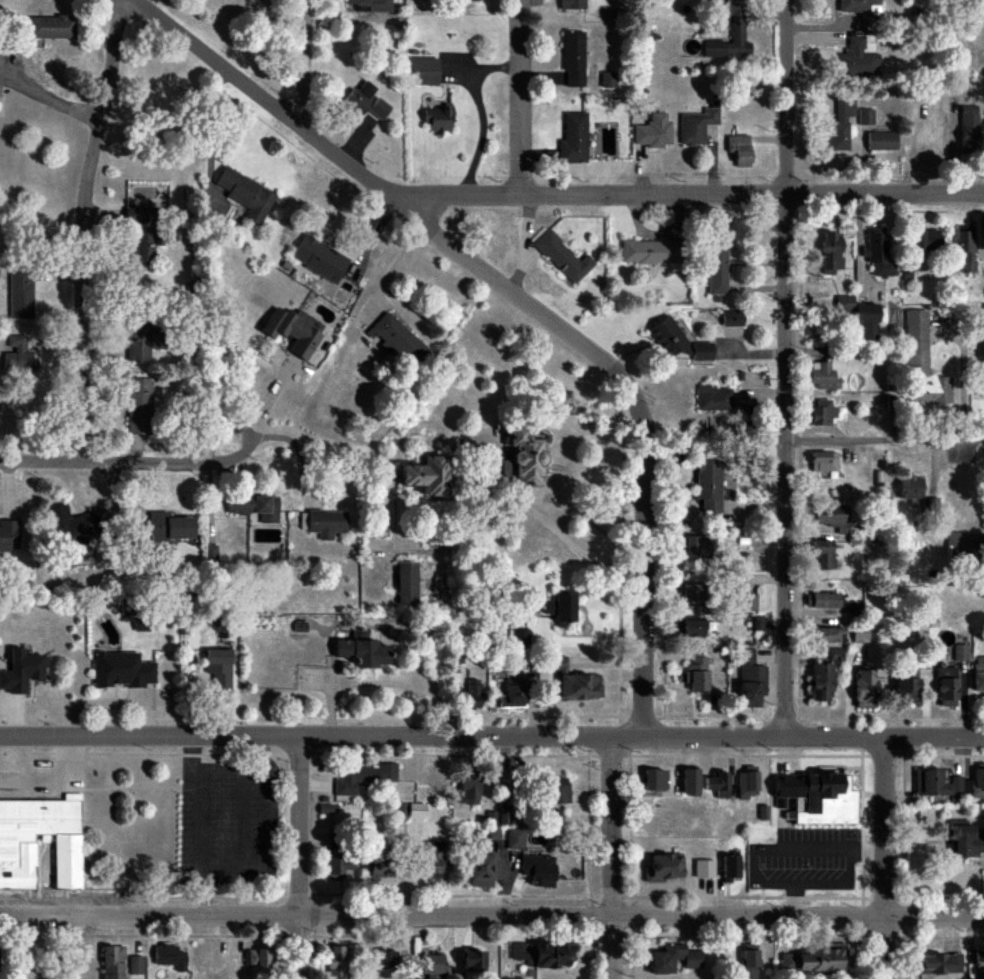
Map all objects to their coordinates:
building: (465, 0)
building: (573, 4)
building: (371, 5)
building: (857, 6)
building: (48, 27)
building: (731, 38)
building: (573, 59)
building: (857, 60)
road: (304, 63)
building: (422, 71)
building: (607, 80)
road: (51, 96)
road: (519, 98)
building: (358, 99)
building: (379, 109)
road: (480, 113)
road: (213, 117)
building: (866, 117)
building: (437, 120)
building: (968, 125)
building: (697, 126)
building: (840, 127)
building: (653, 131)
building: (573, 138)
building: (882, 140)
building: (739, 149)
building: (245, 195)
road: (687, 196)
road: (86, 228)
building: (138, 237)
building: (926, 240)
building: (879, 250)
building: (966, 251)
building: (650, 252)
building: (831, 252)
building: (562, 257)
building: (318, 258)
building: (717, 270)
building: (19, 292)
road: (520, 300)
building: (860, 315)
building: (733, 318)
building: (294, 330)
building: (669, 337)
building: (398, 341)
building: (139, 342)
building: (701, 351)
building: (16, 355)
building: (922, 364)
road: (790, 368)
building: (827, 374)
building: (714, 398)
building: (139, 405)
road: (264, 407)
building: (822, 412)
road: (887, 441)
building: (523, 457)
road: (117, 459)
building: (824, 461)
building: (425, 475)
building: (708, 486)
building: (911, 491)
building: (254, 506)
building: (831, 517)
building: (326, 523)
building: (68, 526)
building: (169, 527)
road: (559, 531)
building: (9, 535)
building: (964, 543)
building: (695, 547)
building: (822, 554)
building: (407, 583)
building: (691, 593)
building: (822, 601)
building: (747, 602)
building: (560, 609)
building: (758, 623)
building: (692, 628)
building: (357, 634)
building: (518, 635)
building: (826, 635)
building: (859, 636)
building: (361, 652)
building: (960, 652)
building: (558, 664)
building: (217, 667)
building: (120, 670)
building: (21, 671)
building: (978, 673)
building: (697, 674)
building: (824, 675)
building: (750, 679)
road: (398, 683)
building: (579, 686)
building: (946, 686)
building: (906, 687)
building: (864, 688)
building: (514, 693)
building: (470, 694)
road: (328, 712)
road: (492, 737)
building: (363, 777)
building: (654, 780)
building: (690, 782)
building: (747, 782)
building: (929, 782)
building: (718, 784)
building: (969, 784)
building: (469, 788)
building: (557, 791)
building: (816, 798)
building: (325, 809)
building: (400, 811)
building: (415, 811)
building: (515, 839)
building: (965, 840)
road: (806, 846)
road: (613, 857)
road: (300, 858)
building: (431, 859)
road: (885, 859)
building: (16, 861)
building: (339, 867)
building: (480, 867)
building: (730, 867)
building: (663, 868)
building: (703, 869)
building: (538, 870)
building: (379, 872)
road: (233, 879)
road: (819, 884)
road: (795, 901)
road: (492, 918)
building: (542, 954)
building: (169, 957)
building: (256, 958)
building: (673, 959)
building: (814, 960)
building: (472, 961)
building: (749, 961)
building: (112, 962)
building: (336, 963)
building: (382, 963)
building: (938, 964)
building: (135, 965)
building: (430, 966)
building: (979, 966)

